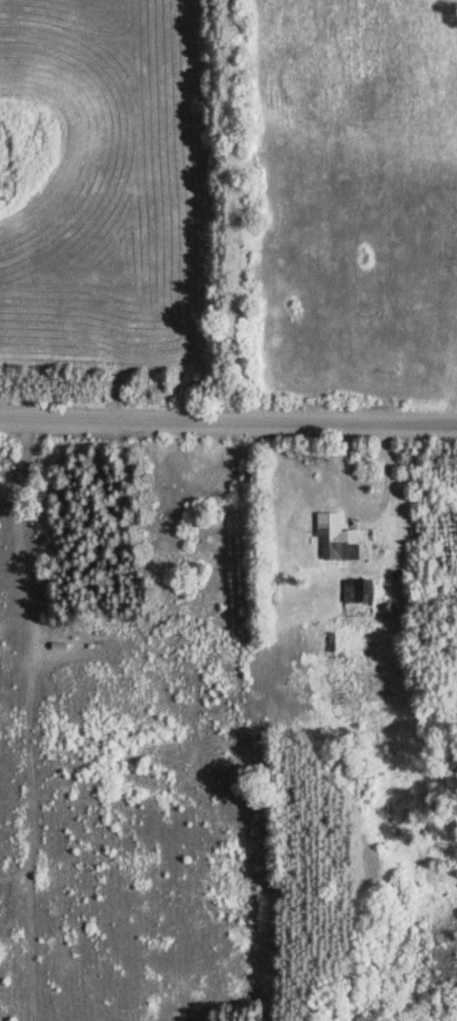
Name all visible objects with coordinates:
road: (228, 422)
building: (334, 536)
building: (354, 589)

